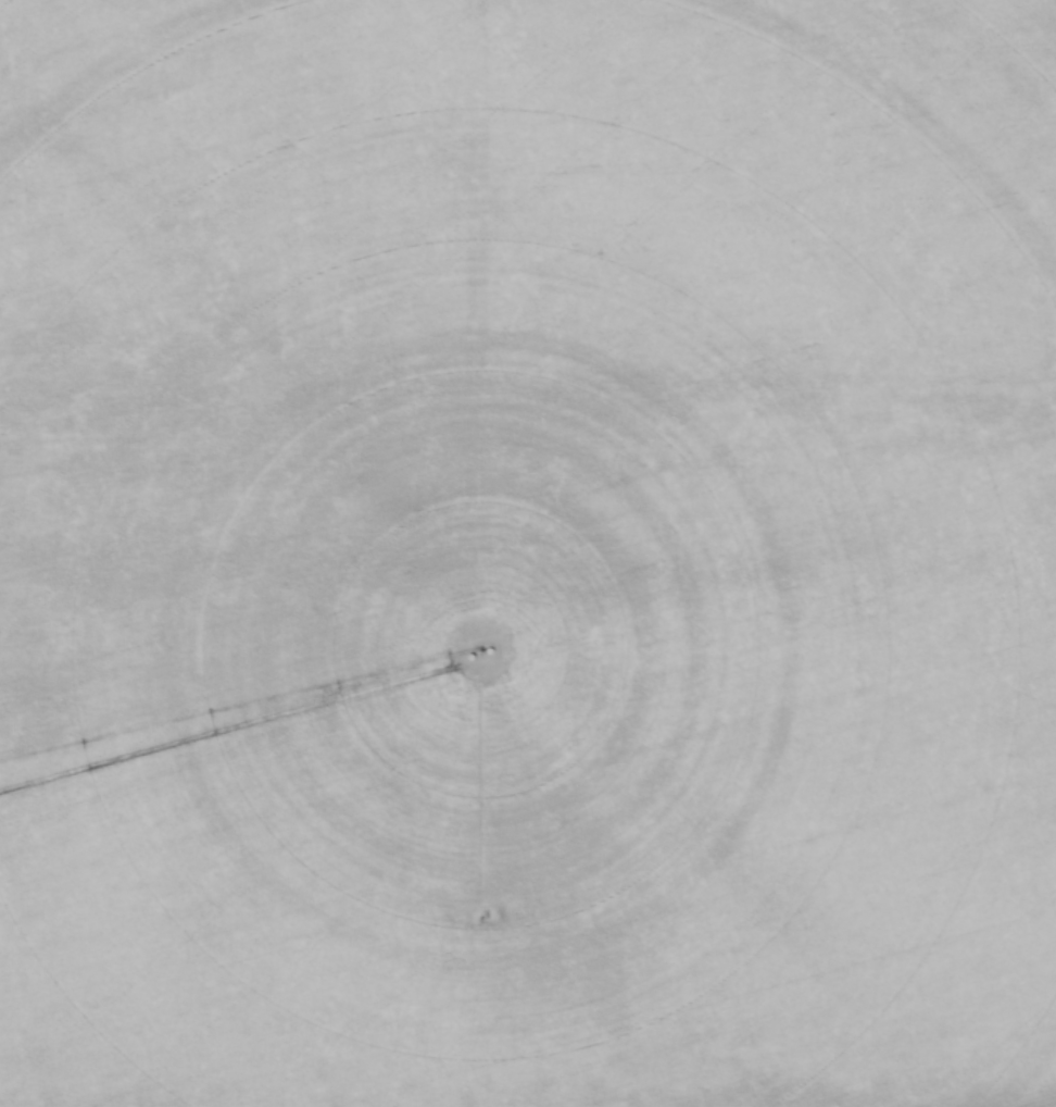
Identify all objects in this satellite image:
crop: (528, 553)

